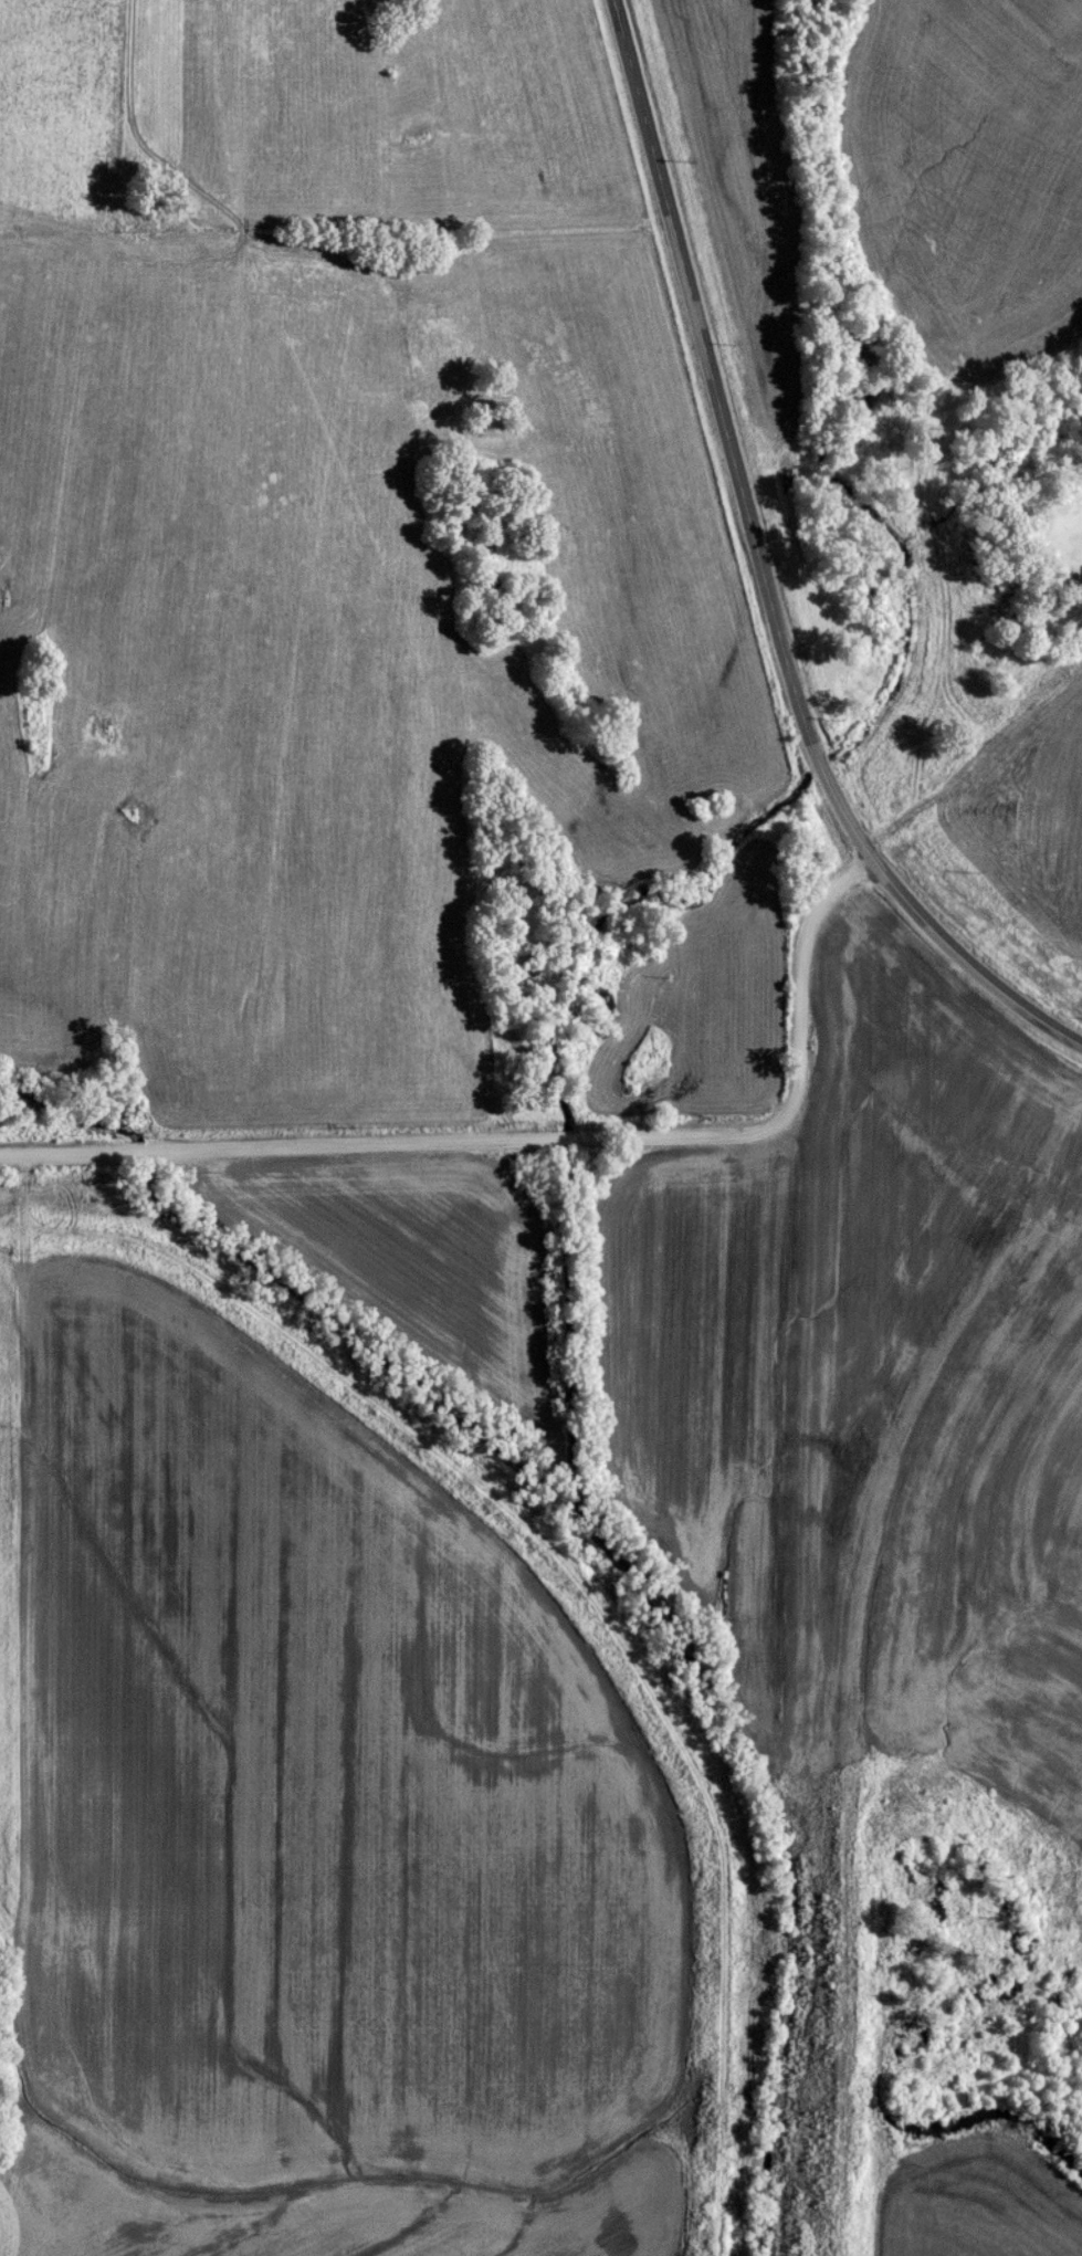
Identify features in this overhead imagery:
road: (736, 440)
road: (974, 967)
road: (543, 1156)

